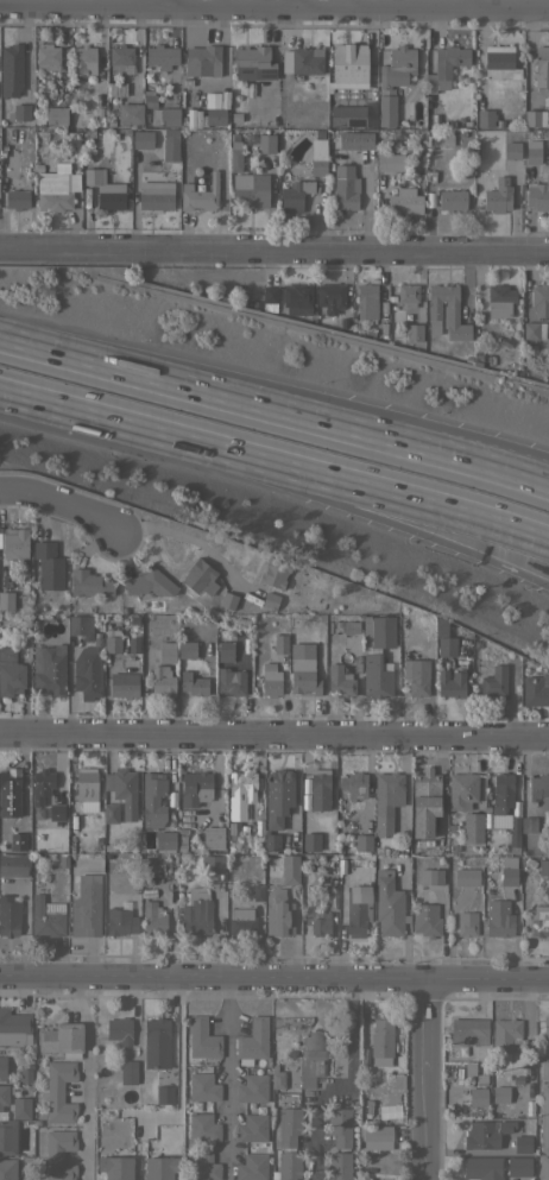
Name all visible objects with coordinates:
road: (171, 2)
road: (291, 4)
road: (347, 4)
road: (473, 4)
road: (273, 6)
building: (162, 56)
building: (48, 57)
building: (83, 57)
building: (121, 59)
building: (302, 59)
building: (203, 61)
building: (500, 62)
building: (254, 63)
building: (349, 63)
building: (397, 67)
building: (446, 67)
building: (542, 67)
building: (11, 70)
building: (147, 77)
building: (118, 89)
building: (146, 100)
building: (217, 107)
building: (351, 107)
building: (386, 109)
building: (20, 112)
building: (131, 113)
building: (164, 114)
building: (56, 116)
building: (486, 116)
building: (234, 118)
building: (535, 118)
building: (100, 119)
building: (109, 122)
building: (143, 139)
building: (448, 139)
building: (365, 140)
building: (498, 140)
building: (266, 143)
building: (318, 144)
building: (169, 145)
building: (511, 146)
building: (532, 151)
building: (234, 152)
building: (391, 160)
building: (318, 166)
building: (415, 166)
building: (94, 175)
building: (431, 176)
building: (156, 188)
building: (345, 188)
building: (251, 189)
building: (56, 191)
building: (200, 194)
building: (538, 194)
building: (295, 195)
building: (111, 196)
building: (494, 197)
building: (17, 198)
building: (429, 200)
building: (452, 200)
building: (405, 201)
road: (274, 247)
building: (408, 294)
building: (330, 296)
building: (270, 298)
building: (297, 298)
building: (541, 298)
building: (499, 299)
building: (367, 301)
building: (447, 311)
building: (534, 330)
building: (414, 332)
road: (164, 381)
road: (83, 415)
road: (440, 437)
road: (440, 449)
road: (359, 487)
road: (64, 501)
road: (359, 510)
road: (190, 539)
building: (15, 543)
building: (49, 564)
building: (274, 572)
building: (200, 576)
building: (150, 582)
building: (88, 583)
building: (6, 599)
building: (229, 600)
building: (271, 600)
building: (78, 625)
building: (348, 625)
building: (379, 629)
building: (444, 638)
building: (112, 639)
building: (280, 644)
building: (187, 649)
building: (225, 651)
building: (168, 652)
building: (49, 669)
building: (11, 670)
building: (88, 674)
building: (304, 675)
building: (376, 676)
building: (417, 676)
building: (271, 680)
building: (340, 680)
building: (163, 681)
building: (231, 681)
building: (452, 682)
building: (494, 682)
building: (194, 683)
building: (124, 684)
building: (536, 689)
road: (274, 736)
building: (10, 781)
building: (242, 783)
building: (42, 784)
building: (354, 784)
building: (425, 784)
building: (538, 787)
building: (196, 788)
building: (320, 788)
building: (122, 789)
building: (87, 790)
building: (462, 790)
building: (503, 793)
building: (278, 796)
building: (153, 800)
building: (387, 800)
building: (111, 813)
building: (56, 816)
building: (494, 819)
building: (529, 824)
building: (234, 826)
building: (473, 827)
building: (515, 832)
building: (213, 837)
building: (165, 840)
building: (311, 840)
building: (272, 841)
building: (364, 843)
building: (13, 864)
building: (213, 864)
building: (543, 866)
building: (290, 869)
building: (431, 876)
building: (467, 876)
building: (509, 876)
building: (257, 891)
building: (389, 904)
building: (86, 905)
building: (358, 909)
building: (196, 911)
building: (278, 913)
building: (8, 916)
building: (46, 916)
building: (498, 917)
building: (425, 920)
building: (241, 921)
building: (539, 921)
building: (121, 923)
building: (153, 923)
building: (321, 923)
building: (466, 923)
road: (295, 957)
road: (273, 977)
building: (545, 1026)
building: (14, 1027)
building: (119, 1029)
building: (468, 1030)
building: (505, 1034)
building: (365, 1036)
building: (380, 1037)
building: (61, 1039)
building: (202, 1039)
building: (253, 1039)
building: (156, 1042)
building: (311, 1058)
road: (177, 1064)
building: (2, 1067)
building: (544, 1067)
building: (127, 1072)
road: (87, 1075)
building: (277, 1077)
road: (225, 1078)
building: (361, 1079)
road: (421, 1079)
road: (342, 1085)
building: (202, 1087)
building: (252, 1087)
building: (58, 1091)
building: (500, 1093)
building: (4, 1094)
building: (164, 1094)
building: (477, 1096)
building: (20, 1108)
building: (544, 1118)
building: (288, 1125)
building: (339, 1125)
building: (202, 1127)
building: (252, 1128)
building: (485, 1132)
building: (377, 1136)
building: (7, 1137)
building: (522, 1143)
building: (58, 1154)
building: (288, 1165)
building: (339, 1166)
building: (518, 1166)
building: (114, 1167)
building: (202, 1167)
building: (252, 1167)
building: (482, 1167)
building: (157, 1168)
building: (544, 1168)
building: (7, 1169)

